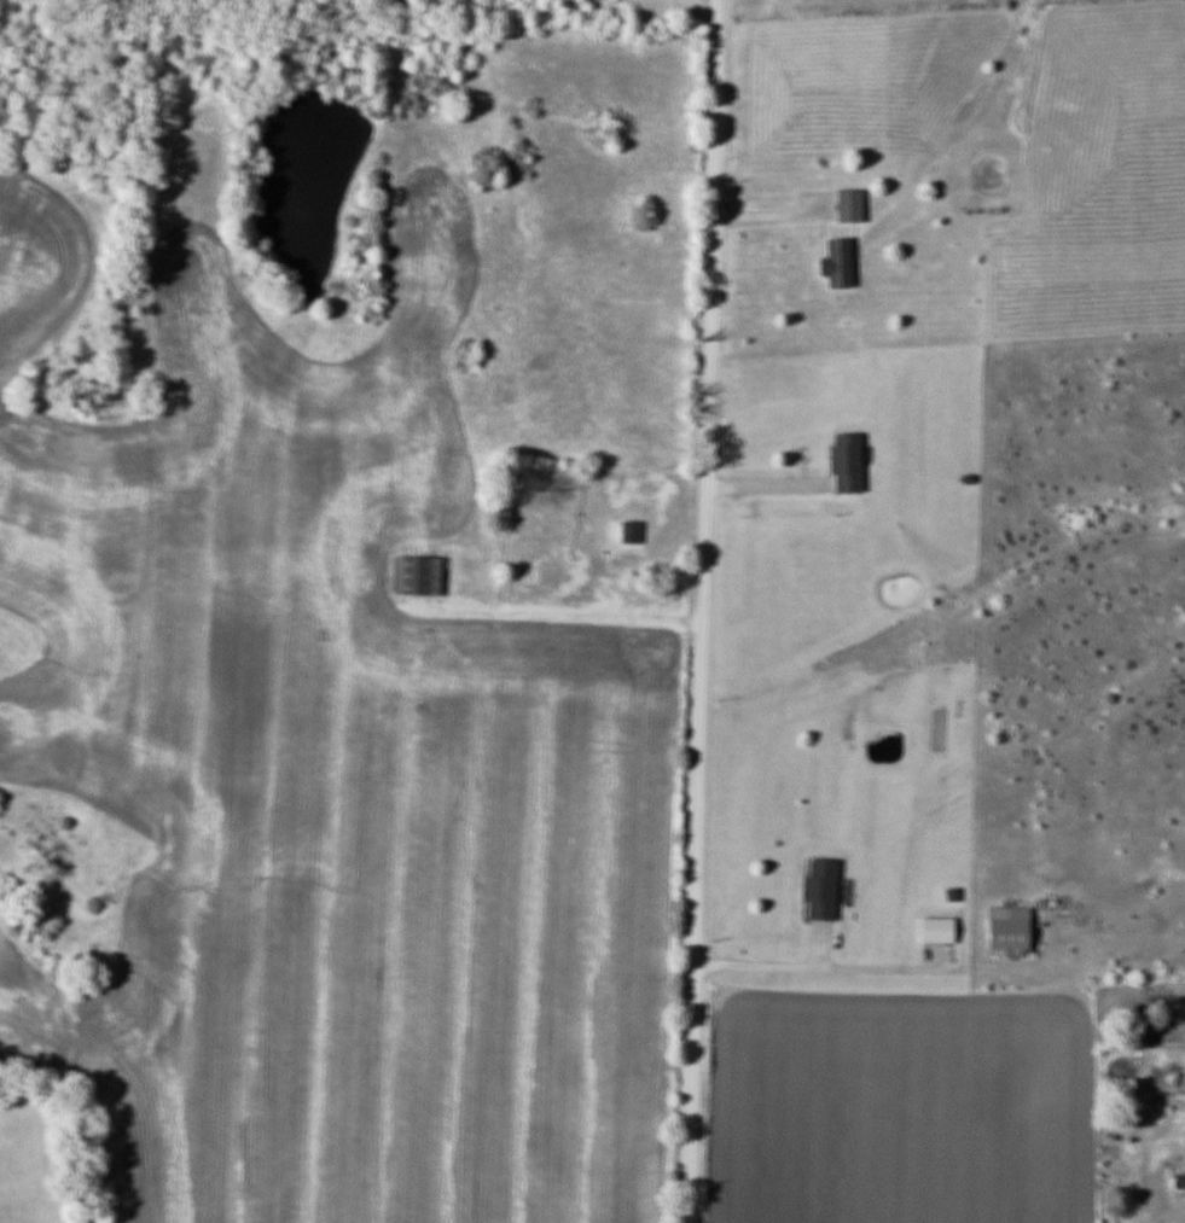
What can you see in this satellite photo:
building: (832, 263)
building: (842, 462)
building: (634, 509)
building: (409, 577)
road: (708, 611)
building: (817, 889)
building: (1003, 932)

